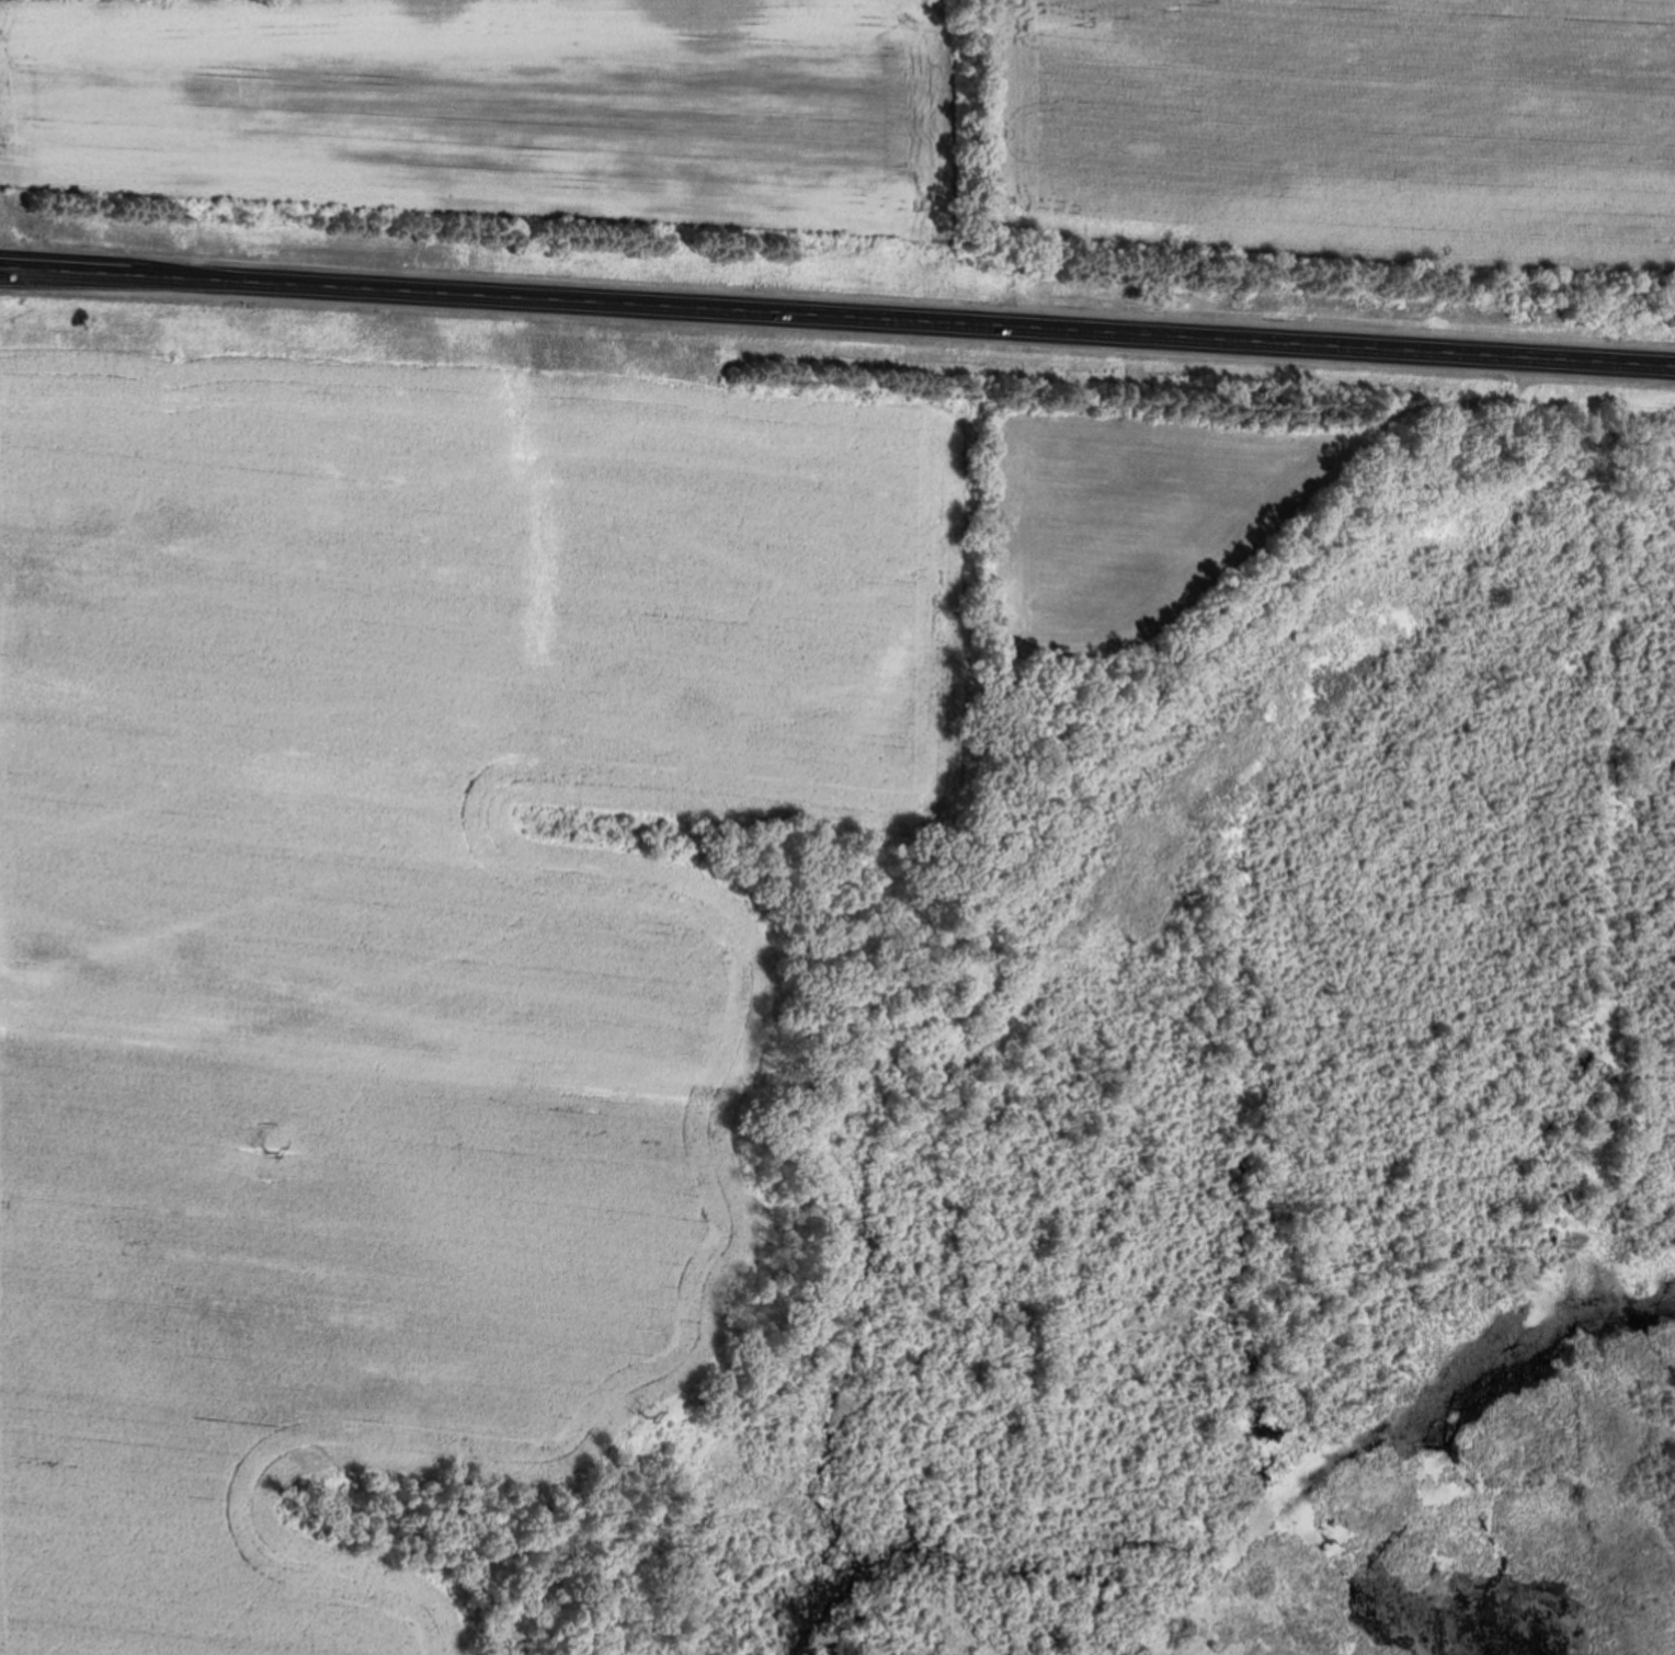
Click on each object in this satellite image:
road: (837, 318)
power tower: (265, 1151)
power tower: (646, 1415)

